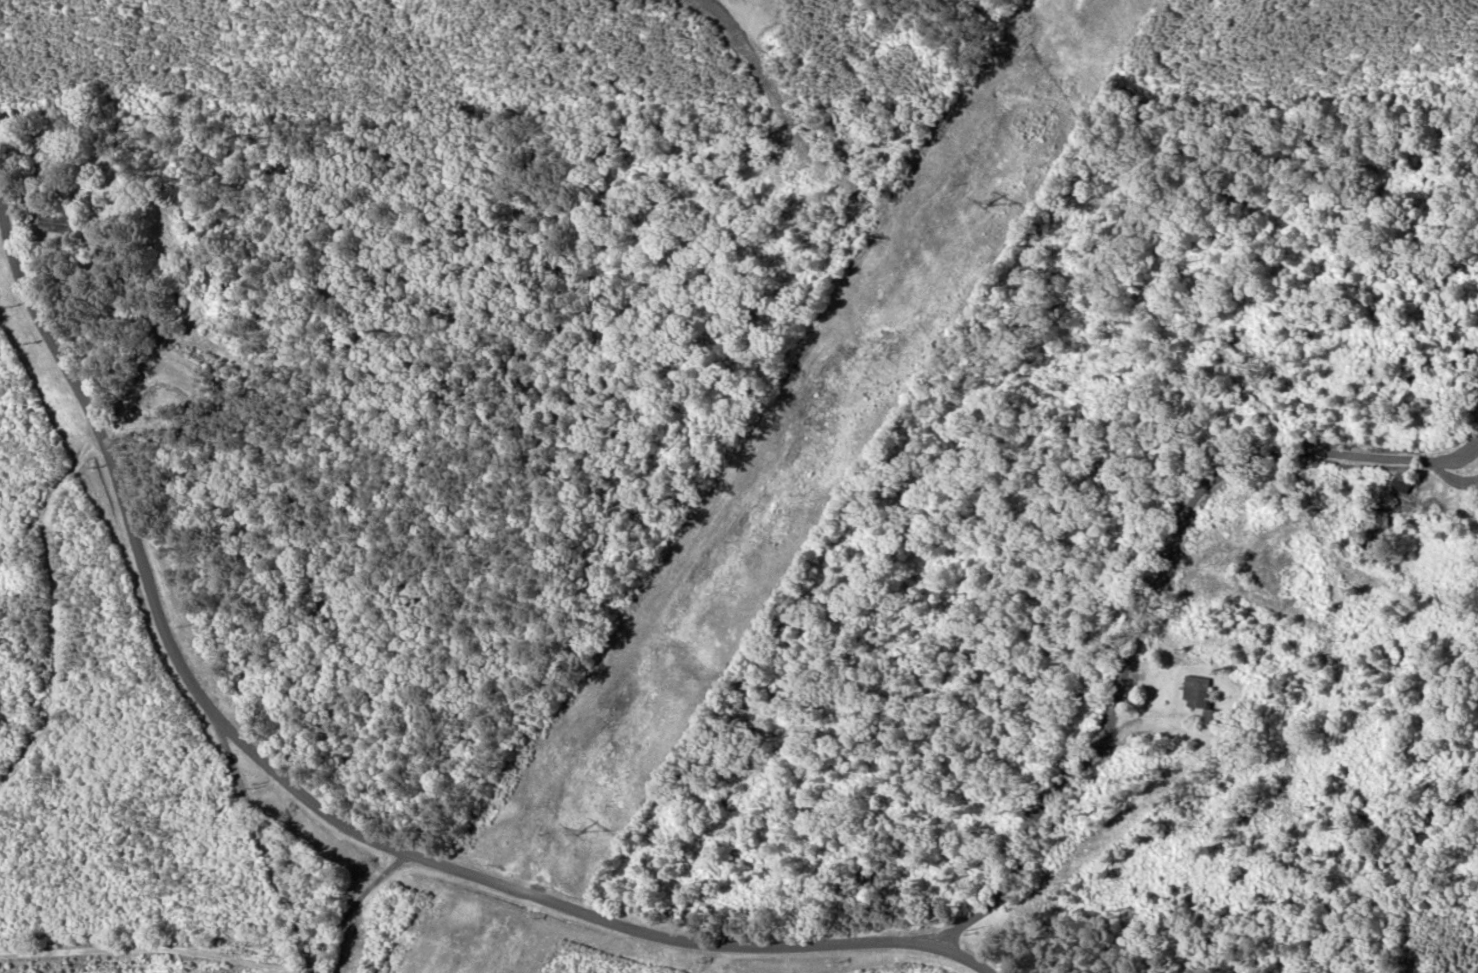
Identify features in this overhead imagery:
power tower: (989, 204)
building: (59, 223)
road: (1144, 615)
road: (301, 812)
power tower: (584, 831)
road: (297, 886)
road: (352, 898)
building: (168, 964)

